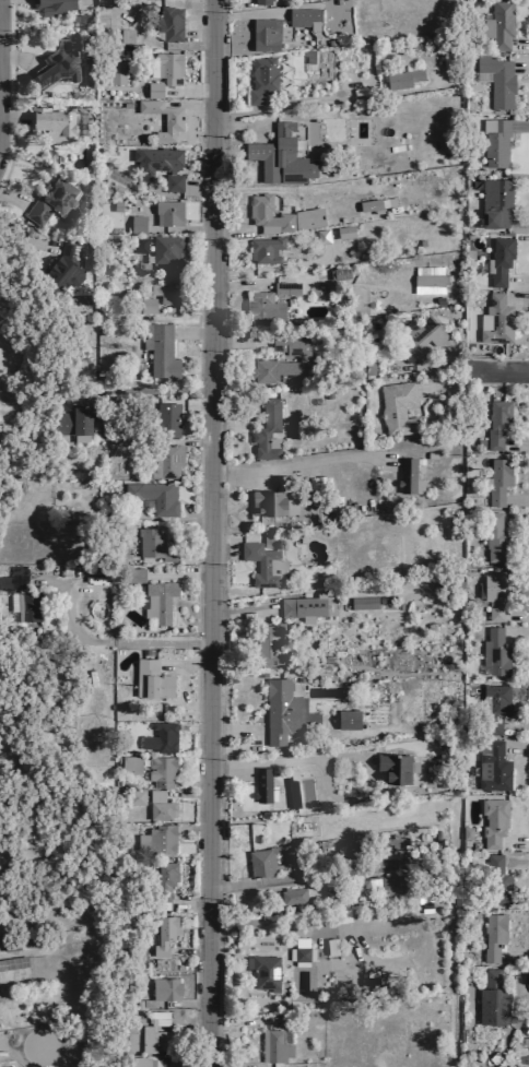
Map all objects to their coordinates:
building: (261, 1)
building: (51, 5)
building: (303, 17)
building: (168, 23)
building: (497, 24)
road: (200, 34)
building: (264, 34)
building: (126, 35)
road: (519, 44)
building: (307, 55)
building: (58, 63)
road: (520, 66)
building: (165, 67)
building: (114, 72)
building: (401, 78)
building: (260, 79)
building: (496, 80)
building: (153, 90)
road: (189, 92)
road: (12, 93)
road: (331, 99)
road: (190, 103)
road: (527, 116)
building: (161, 117)
building: (51, 123)
road: (519, 128)
building: (494, 141)
building: (279, 156)
building: (157, 159)
building: (172, 181)
road: (200, 183)
building: (51, 201)
building: (390, 201)
building: (494, 201)
building: (369, 204)
building: (167, 212)
building: (280, 215)
road: (518, 222)
building: (136, 223)
road: (189, 228)
building: (343, 230)
building: (321, 236)
road: (23, 239)
building: (421, 241)
building: (139, 245)
building: (164, 248)
building: (262, 250)
building: (498, 260)
road: (185, 264)
building: (60, 272)
building: (338, 272)
building: (426, 280)
road: (517, 281)
road: (240, 285)
building: (168, 286)
building: (285, 287)
road: (516, 299)
building: (438, 300)
building: (145, 305)
road: (186, 307)
building: (262, 308)
building: (494, 320)
road: (195, 332)
building: (420, 336)
road: (242, 342)
building: (290, 343)
building: (158, 349)
road: (452, 358)
road: (426, 364)
building: (273, 370)
road: (497, 370)
road: (444, 382)
road: (142, 390)
building: (397, 407)
building: (166, 418)
building: (71, 422)
road: (234, 423)
building: (496, 423)
building: (101, 430)
building: (266, 431)
road: (190, 441)
road: (517, 442)
building: (164, 461)
road: (302, 462)
building: (408, 476)
building: (497, 478)
building: (153, 496)
building: (269, 497)
road: (517, 501)
road: (195, 514)
road: (212, 533)
building: (94, 540)
building: (267, 540)
building: (494, 540)
building: (155, 544)
building: (263, 564)
building: (133, 576)
road: (179, 576)
building: (3, 584)
building: (495, 592)
building: (156, 600)
building: (304, 604)
building: (364, 604)
building: (26, 605)
road: (516, 631)
road: (97, 640)
building: (270, 642)
building: (494, 652)
road: (186, 665)
building: (150, 679)
building: (495, 706)
building: (285, 712)
building: (348, 719)
road: (195, 726)
road: (237, 731)
building: (158, 737)
road: (516, 747)
road: (343, 756)
building: (128, 763)
building: (492, 766)
building: (395, 767)
building: (161, 770)
road: (192, 782)
building: (261, 784)
road: (188, 793)
building: (136, 796)
building: (160, 806)
building: (493, 820)
road: (193, 827)
building: (466, 832)
building: (156, 839)
road: (516, 842)
building: (387, 845)
building: (355, 850)
road: (517, 857)
building: (275, 858)
road: (315, 875)
road: (308, 880)
building: (163, 881)
building: (496, 881)
building: (390, 882)
building: (327, 891)
building: (293, 896)
road: (190, 900)
road: (262, 923)
building: (163, 934)
building: (492, 935)
road: (189, 951)
building: (299, 953)
road: (514, 955)
building: (13, 964)
building: (263, 969)
road: (515, 974)
building: (491, 976)
building: (371, 983)
building: (164, 988)
road: (186, 1003)
building: (492, 1006)
road: (189, 1017)
building: (154, 1032)
building: (525, 1040)
building: (274, 1043)
park: (40, 1045)
building: (139, 1062)
building: (296, 1066)

